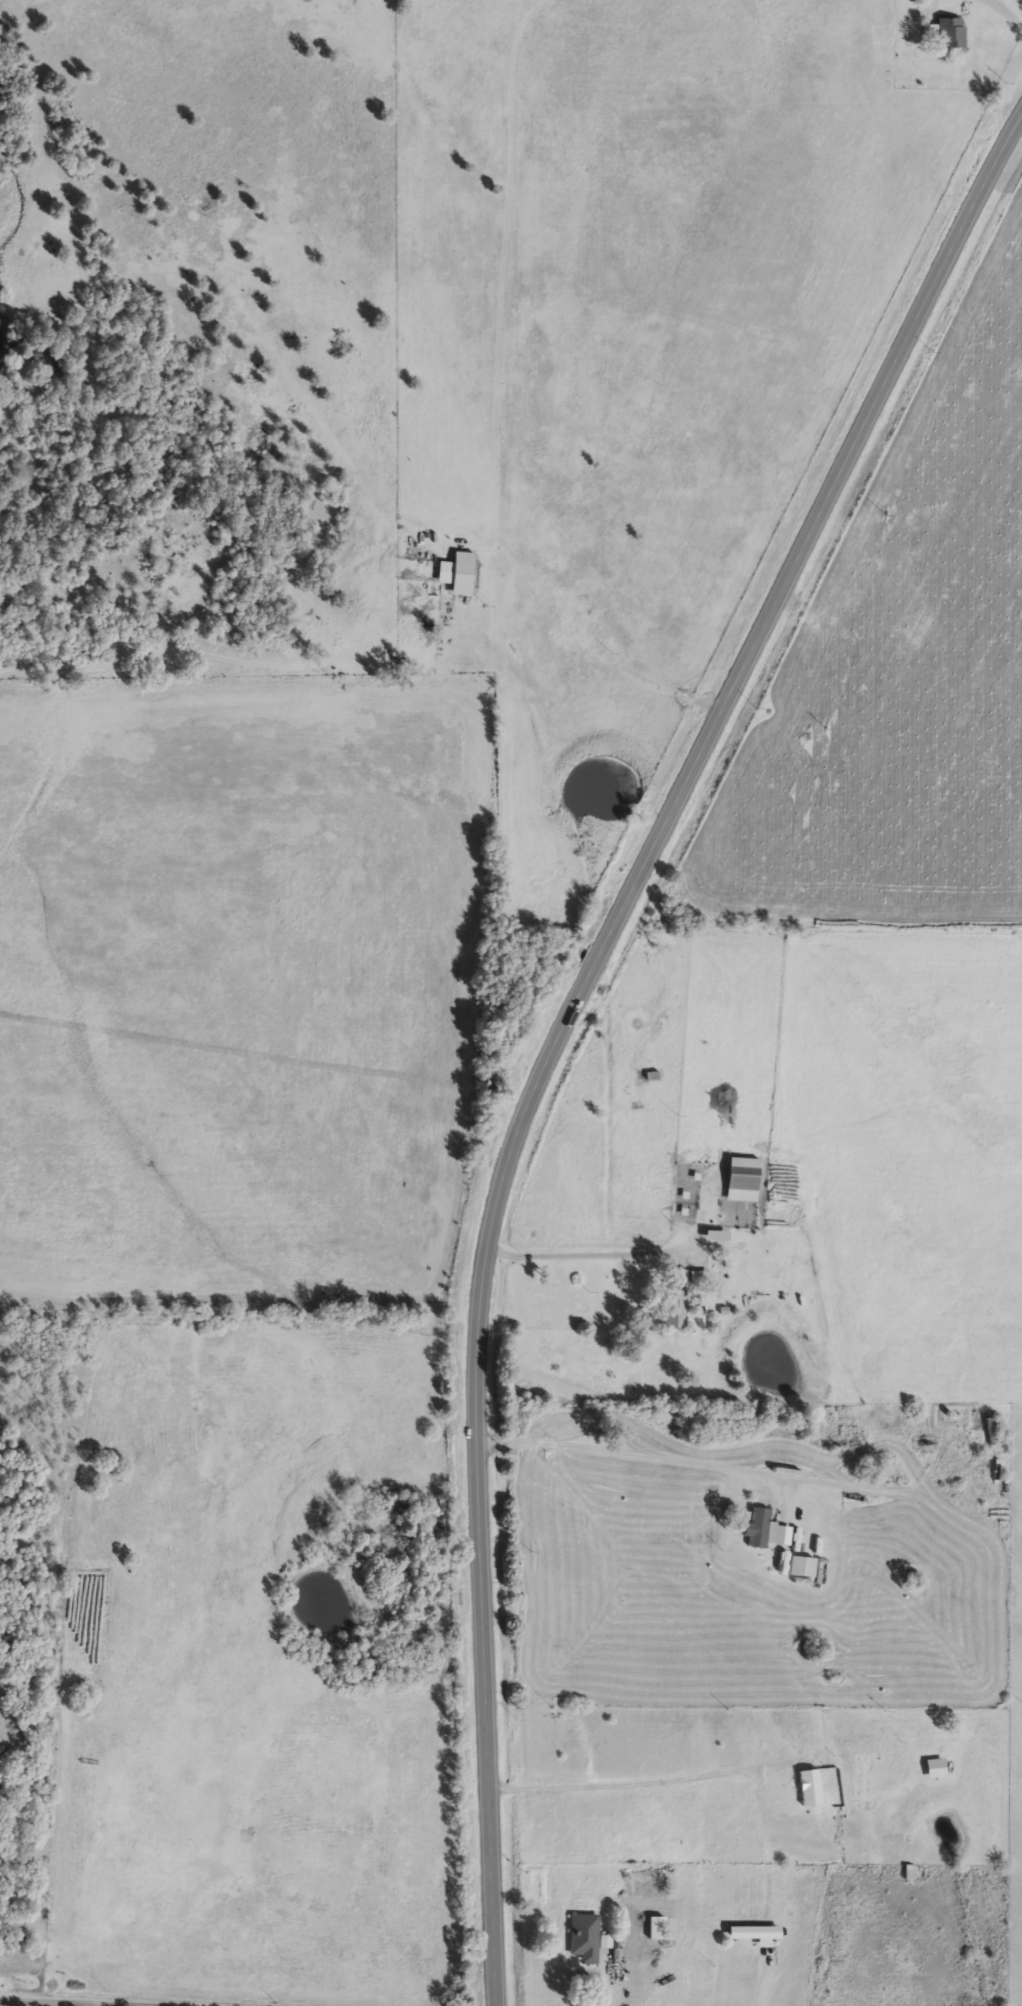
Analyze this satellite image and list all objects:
road: (1001, 13)
building: (946, 32)
building: (453, 573)
building: (794, 753)
road: (569, 1015)
building: (737, 1177)
building: (710, 1234)
building: (695, 1277)
building: (669, 1298)
road: (708, 1464)
building: (755, 1528)
building: (796, 1565)
road: (649, 1781)
building: (805, 1786)
building: (904, 1872)
building: (654, 1891)
building: (653, 1927)
building: (749, 1933)
building: (581, 1937)
road: (2, 2000)
road: (30, 2003)

